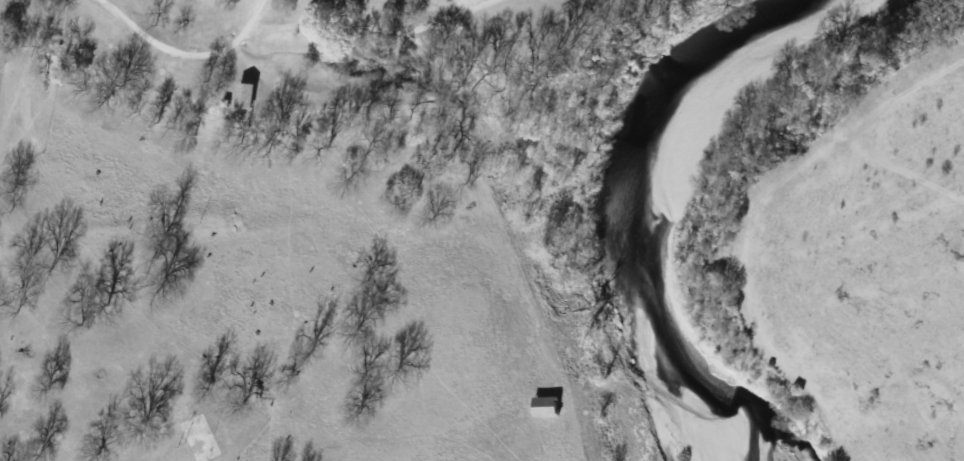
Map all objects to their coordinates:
road: (241, 33)
building: (244, 94)
river: (632, 229)

